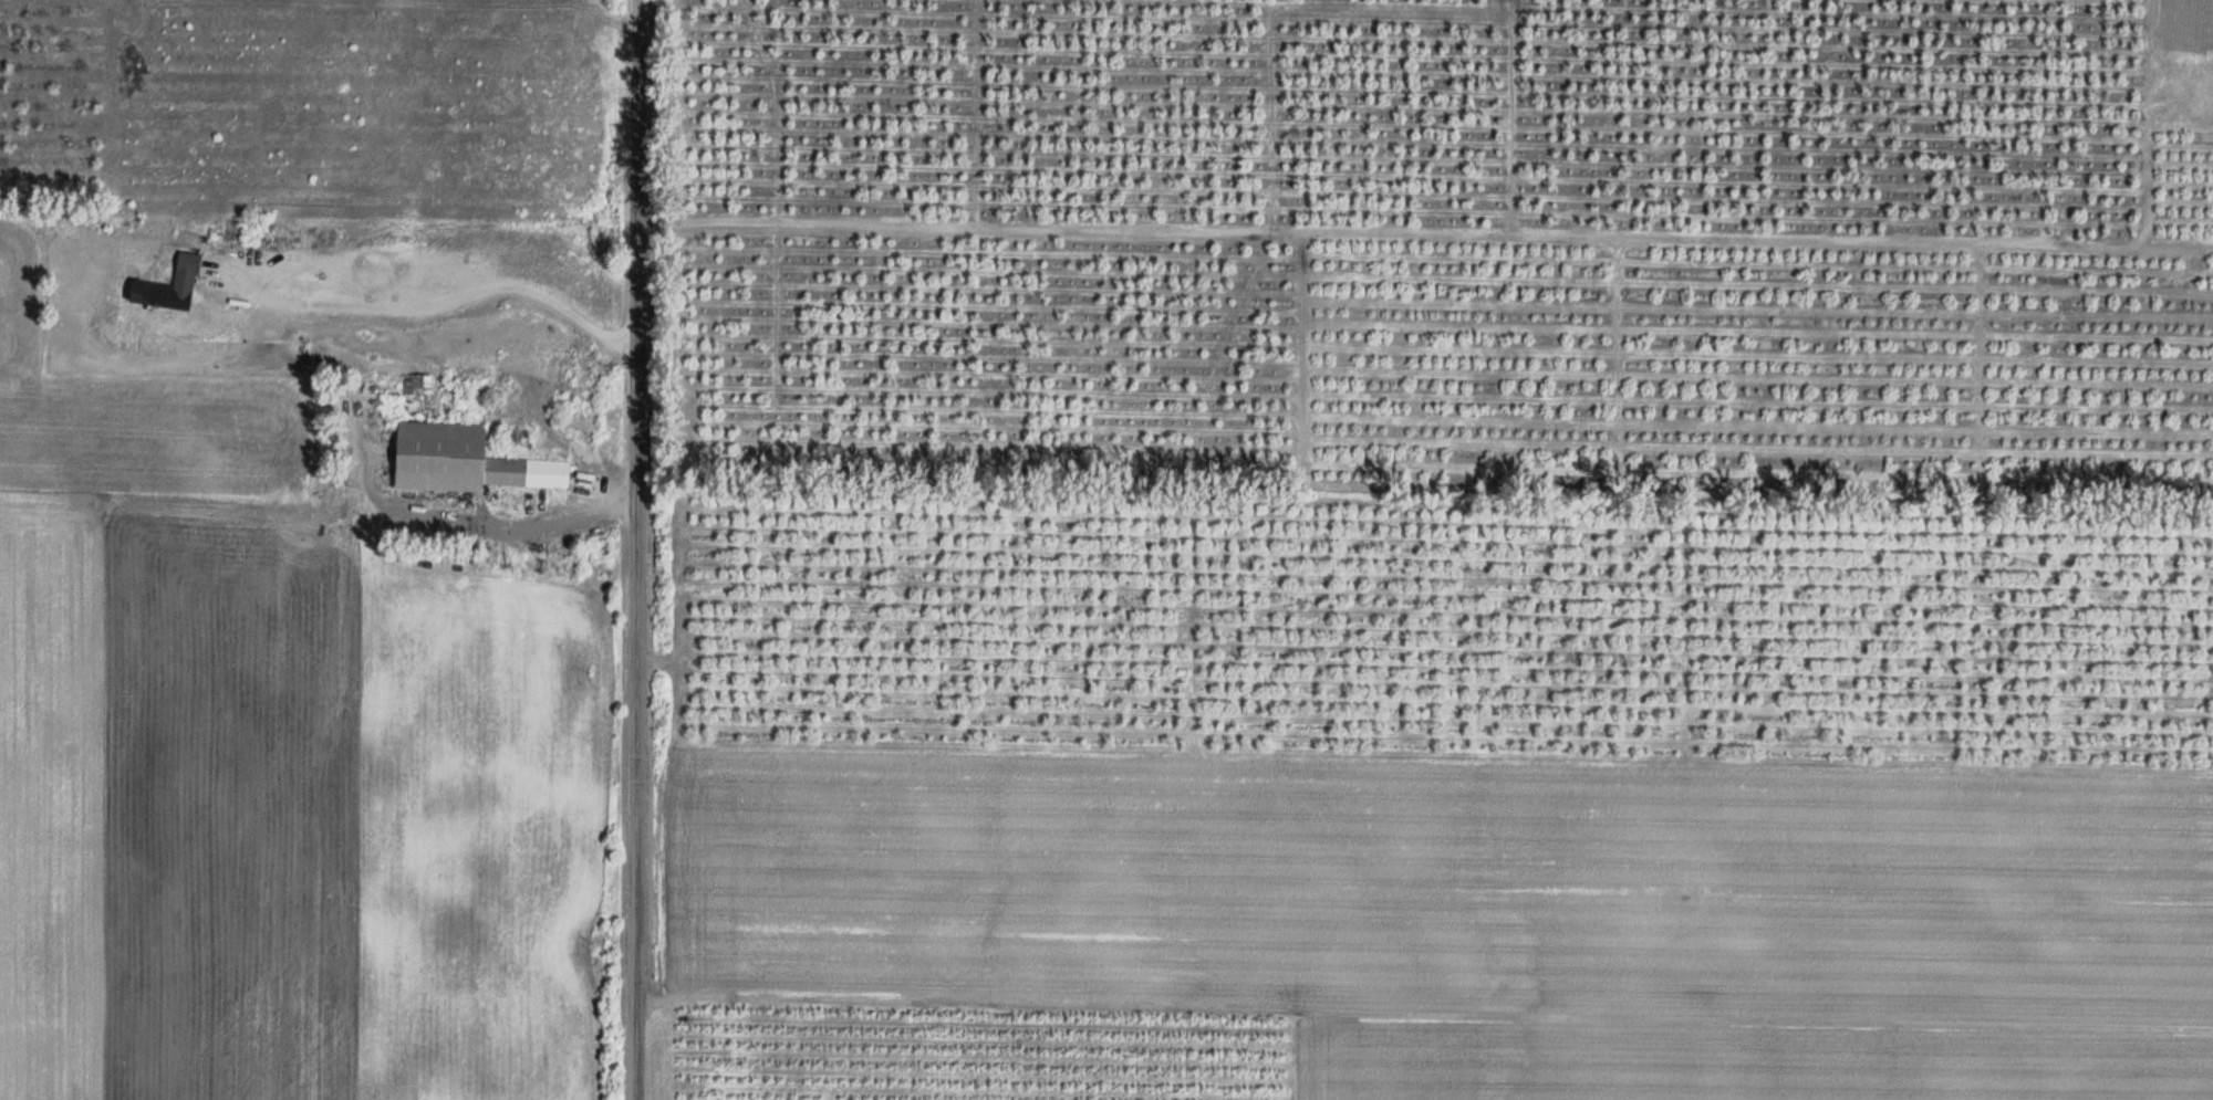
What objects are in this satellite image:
building: (165, 287)
building: (459, 461)
road: (527, 528)
road: (638, 549)

